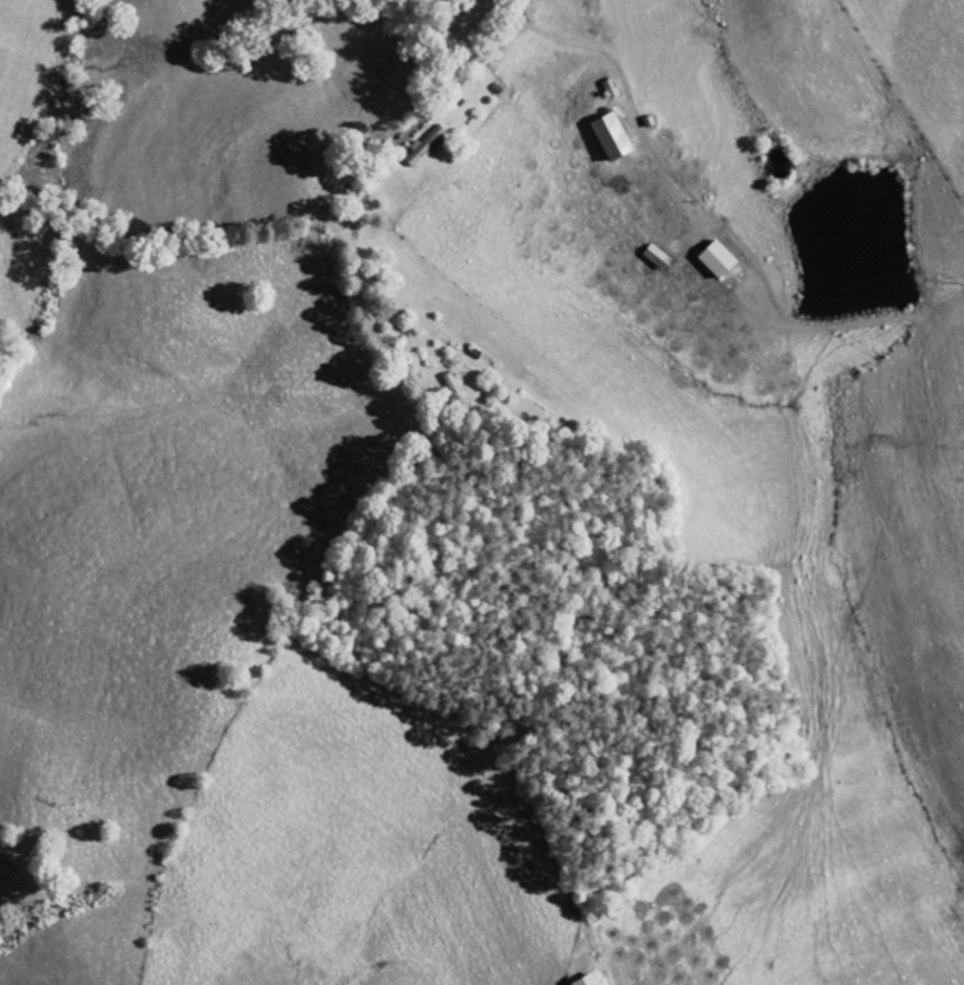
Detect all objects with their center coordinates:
road: (519, 9)
road: (607, 123)
building: (615, 137)
building: (428, 145)
road: (362, 212)
building: (660, 258)
building: (720, 259)
building: (591, 981)

